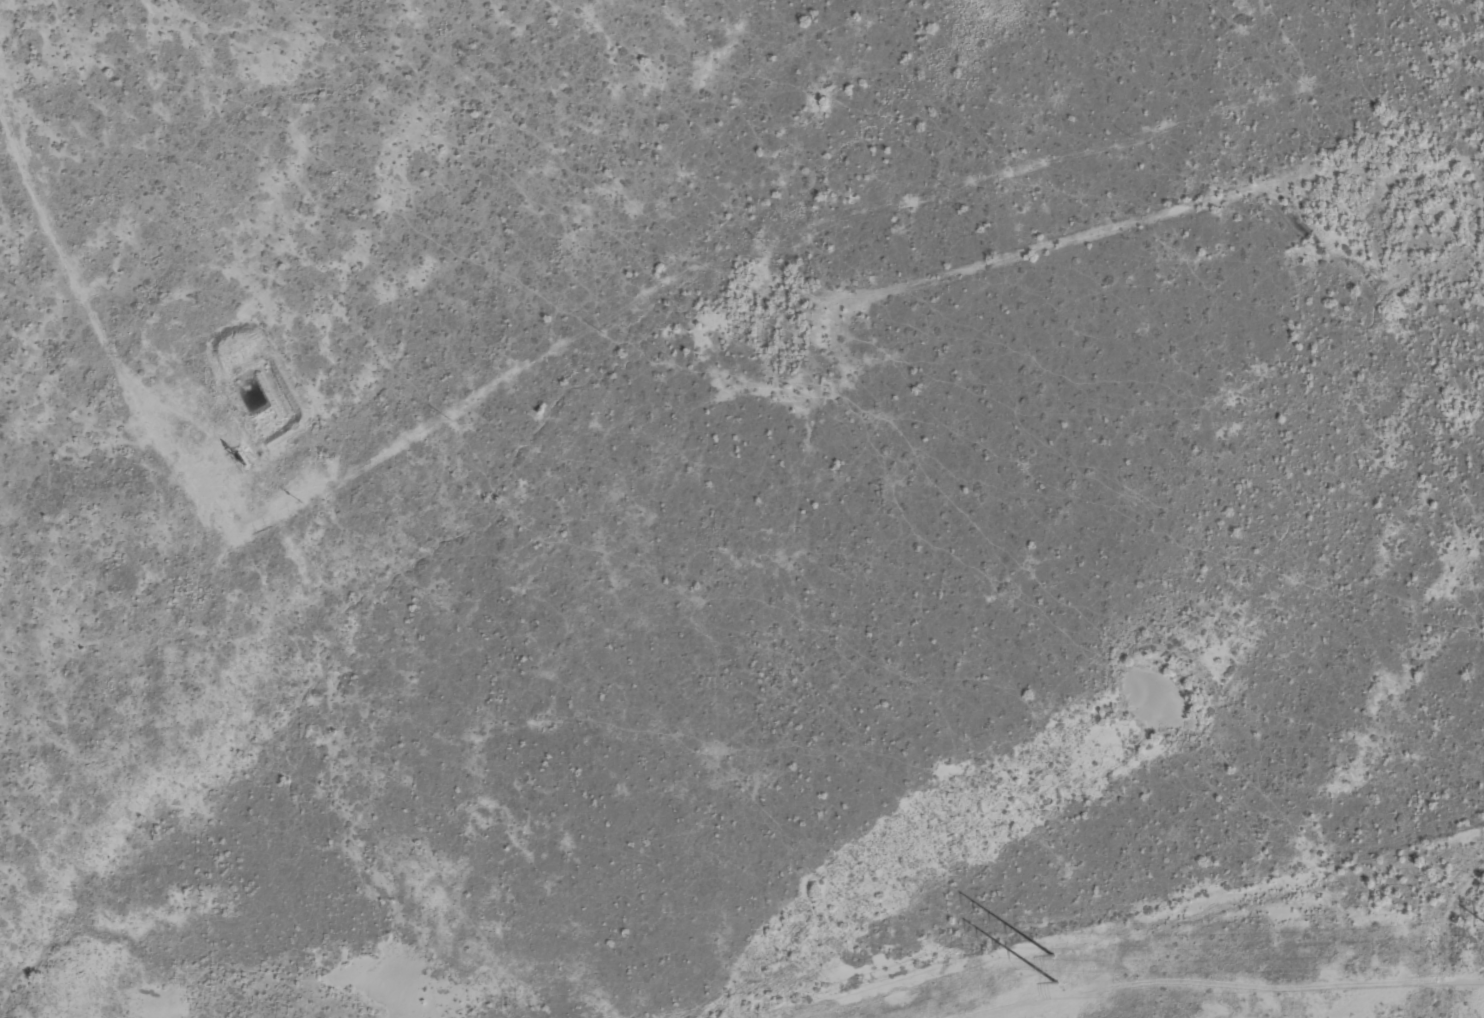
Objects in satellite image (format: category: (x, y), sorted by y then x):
power tower: (1054, 970)

